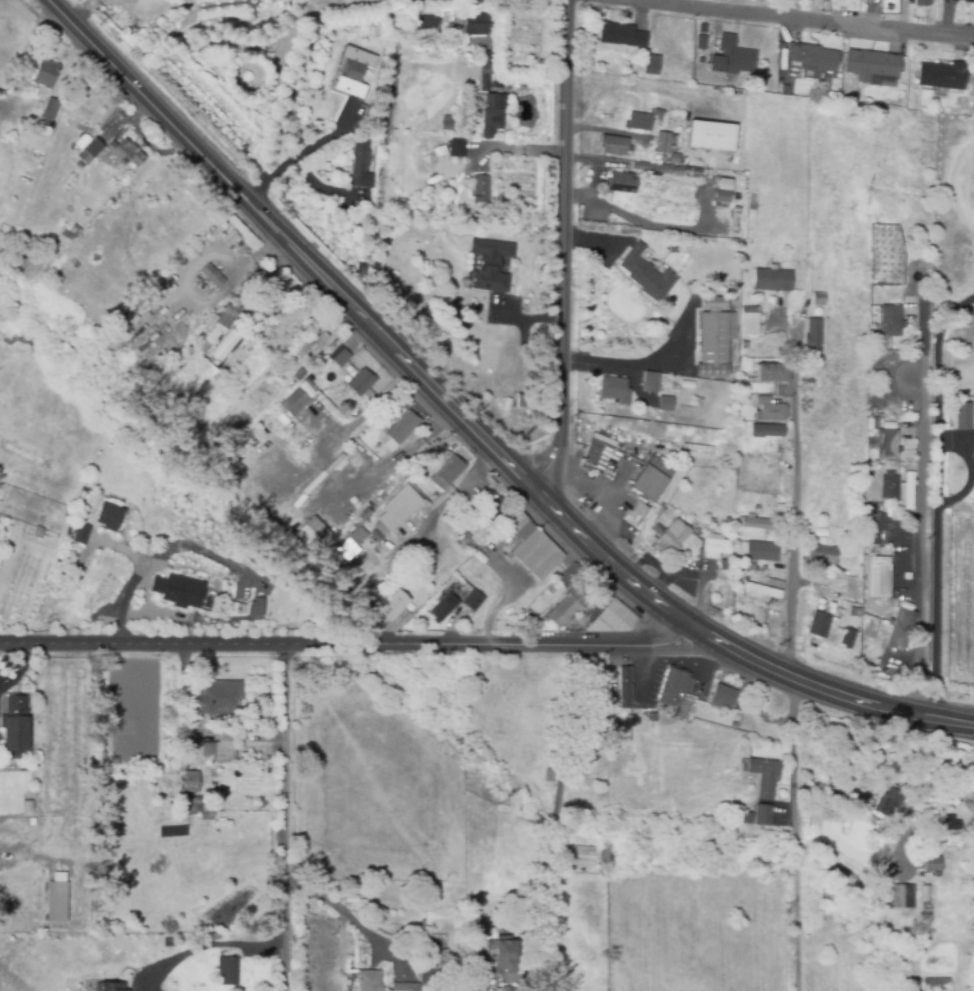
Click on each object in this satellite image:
building: (968, 1)
building: (922, 3)
road: (810, 18)
building: (423, 22)
building: (477, 24)
building: (622, 36)
building: (701, 43)
building: (649, 57)
building: (732, 57)
building: (811, 58)
road: (115, 60)
building: (487, 62)
building: (872, 65)
building: (651, 69)
building: (354, 72)
building: (48, 74)
building: (942, 76)
building: (484, 83)
road: (636, 87)
building: (366, 109)
building: (658, 113)
building: (50, 114)
building: (492, 114)
building: (640, 122)
road: (607, 130)
building: (713, 136)
building: (663, 143)
building: (613, 145)
building: (457, 148)
building: (95, 149)
road: (516, 149)
road: (301, 152)
building: (125, 154)
building: (243, 154)
building: (675, 158)
building: (697, 161)
building: (360, 165)
building: (657, 169)
building: (622, 183)
building: (384, 186)
building: (724, 186)
building: (481, 194)
building: (723, 196)
building: (383, 204)
building: (752, 206)
building: (71, 233)
road: (564, 245)
building: (490, 265)
building: (361, 269)
building: (646, 275)
building: (213, 276)
building: (773, 281)
building: (273, 294)
building: (819, 298)
building: (244, 299)
building: (229, 315)
building: (891, 317)
building: (750, 321)
building: (714, 333)
building: (216, 335)
building: (814, 336)
building: (249, 340)
building: (314, 341)
building: (744, 345)
building: (239, 354)
building: (343, 359)
road: (627, 368)
building: (772, 373)
building: (300, 375)
building: (651, 381)
building: (361, 382)
building: (615, 390)
building: (295, 403)
building: (665, 404)
building: (770, 410)
building: (967, 416)
building: (383, 418)
building: (869, 423)
building: (740, 427)
building: (403, 428)
building: (766, 431)
building: (888, 446)
road: (404, 452)
road: (479, 469)
building: (448, 473)
building: (624, 473)
road: (535, 484)
building: (890, 486)
building: (910, 489)
road: (934, 489)
road: (604, 494)
building: (399, 507)
building: (756, 509)
building: (494, 511)
building: (364, 514)
building: (108, 516)
building: (754, 522)
building: (876, 527)
building: (708, 530)
road: (794, 531)
building: (80, 533)
building: (313, 534)
building: (358, 536)
road: (418, 536)
building: (672, 536)
building: (466, 539)
building: (531, 546)
building: (717, 546)
building: (762, 552)
building: (820, 554)
building: (340, 559)
building: (724, 566)
building: (569, 576)
road: (136, 577)
building: (880, 577)
building: (739, 579)
building: (774, 584)
building: (177, 590)
building: (760, 590)
building: (473, 601)
building: (810, 606)
building: (248, 607)
building: (443, 608)
building: (566, 608)
building: (393, 609)
road: (163, 613)
building: (856, 613)
building: (613, 618)
building: (819, 625)
building: (535, 626)
building: (899, 630)
building: (848, 637)
road: (349, 639)
building: (673, 687)
building: (623, 688)
building: (723, 697)
building: (219, 698)
building: (611, 701)
building: (740, 702)
building: (262, 714)
building: (204, 716)
building: (733, 725)
building: (20, 726)
building: (222, 744)
road: (931, 759)
building: (764, 776)
building: (189, 780)
building: (886, 800)
building: (190, 804)
building: (28, 807)
building: (762, 815)
road: (287, 816)
building: (746, 819)
road: (794, 832)
building: (581, 856)
building: (432, 862)
building: (934, 864)
building: (902, 897)
building: (58, 899)
road: (350, 917)
road: (205, 946)
building: (504, 955)
building: (935, 961)
building: (230, 965)
building: (429, 967)
building: (370, 979)
building: (406, 985)
building: (936, 985)
building: (111, 986)
building: (506, 989)

